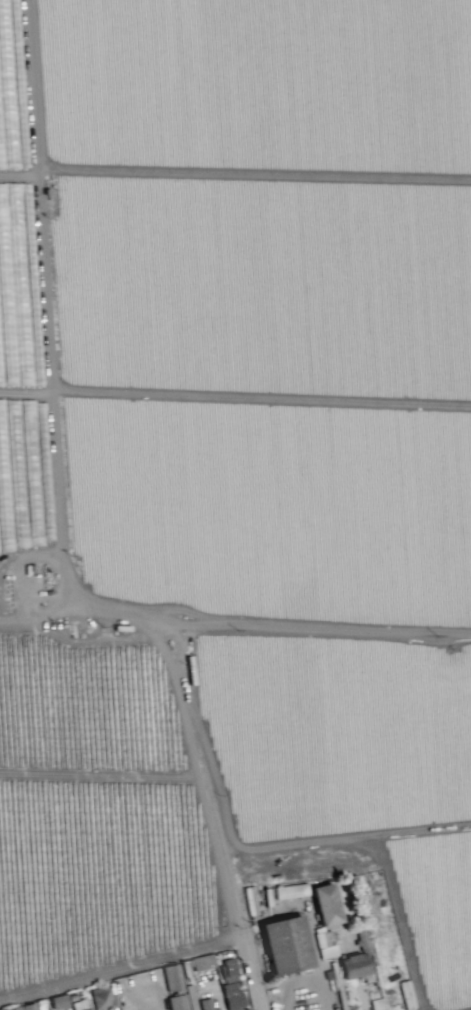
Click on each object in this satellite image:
crop: (233, 480)
road: (55, 553)
road: (131, 612)
road: (46, 615)
road: (217, 816)
building: (290, 890)
building: (325, 905)
building: (285, 944)
building: (325, 944)
building: (202, 961)
building: (354, 966)
building: (171, 976)
building: (230, 985)
building: (99, 997)
building: (58, 1001)
building: (177, 1002)
building: (207, 1004)
building: (375, 1004)
building: (78, 1005)
building: (24, 1006)

